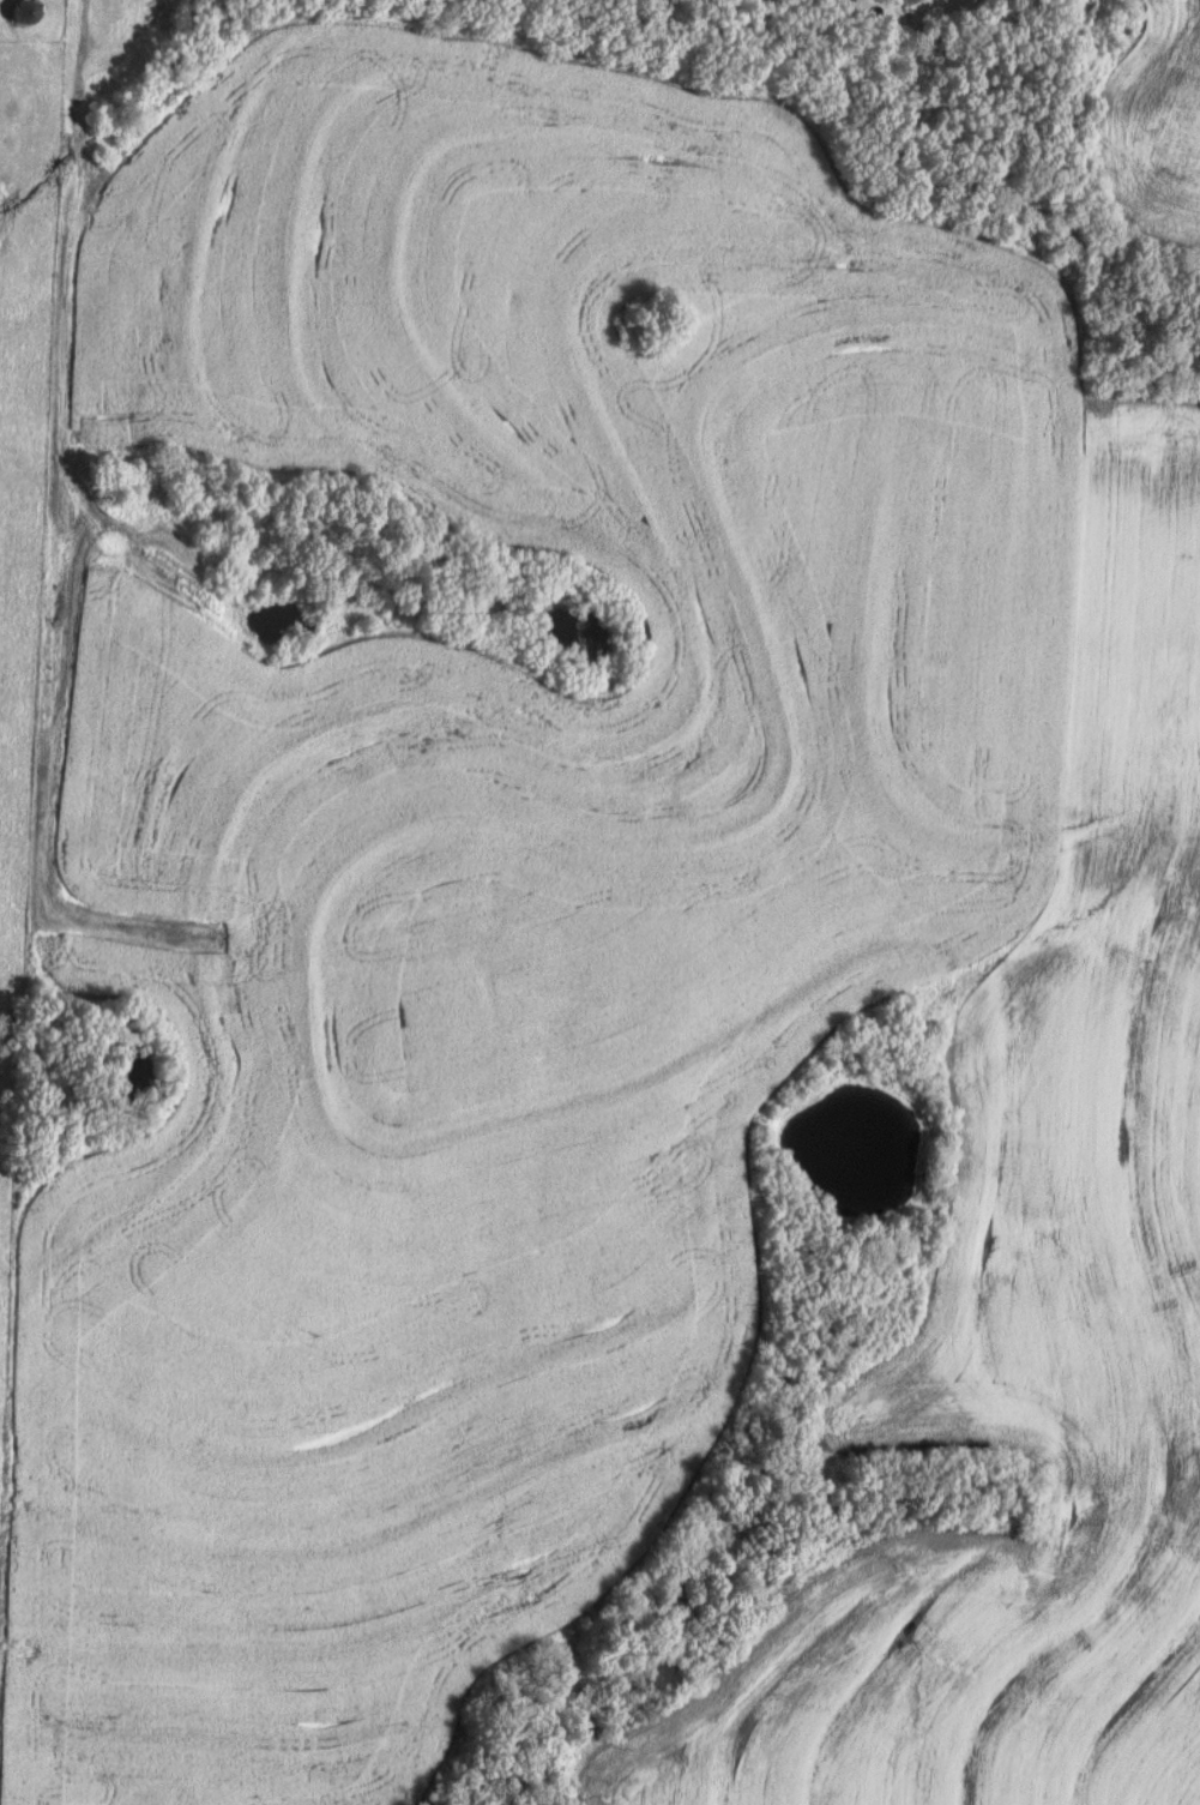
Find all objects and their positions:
building: (903, 1)
building: (20, 12)
crop: (1150, 138)
road: (44, 616)
crop: (1030, 1312)

